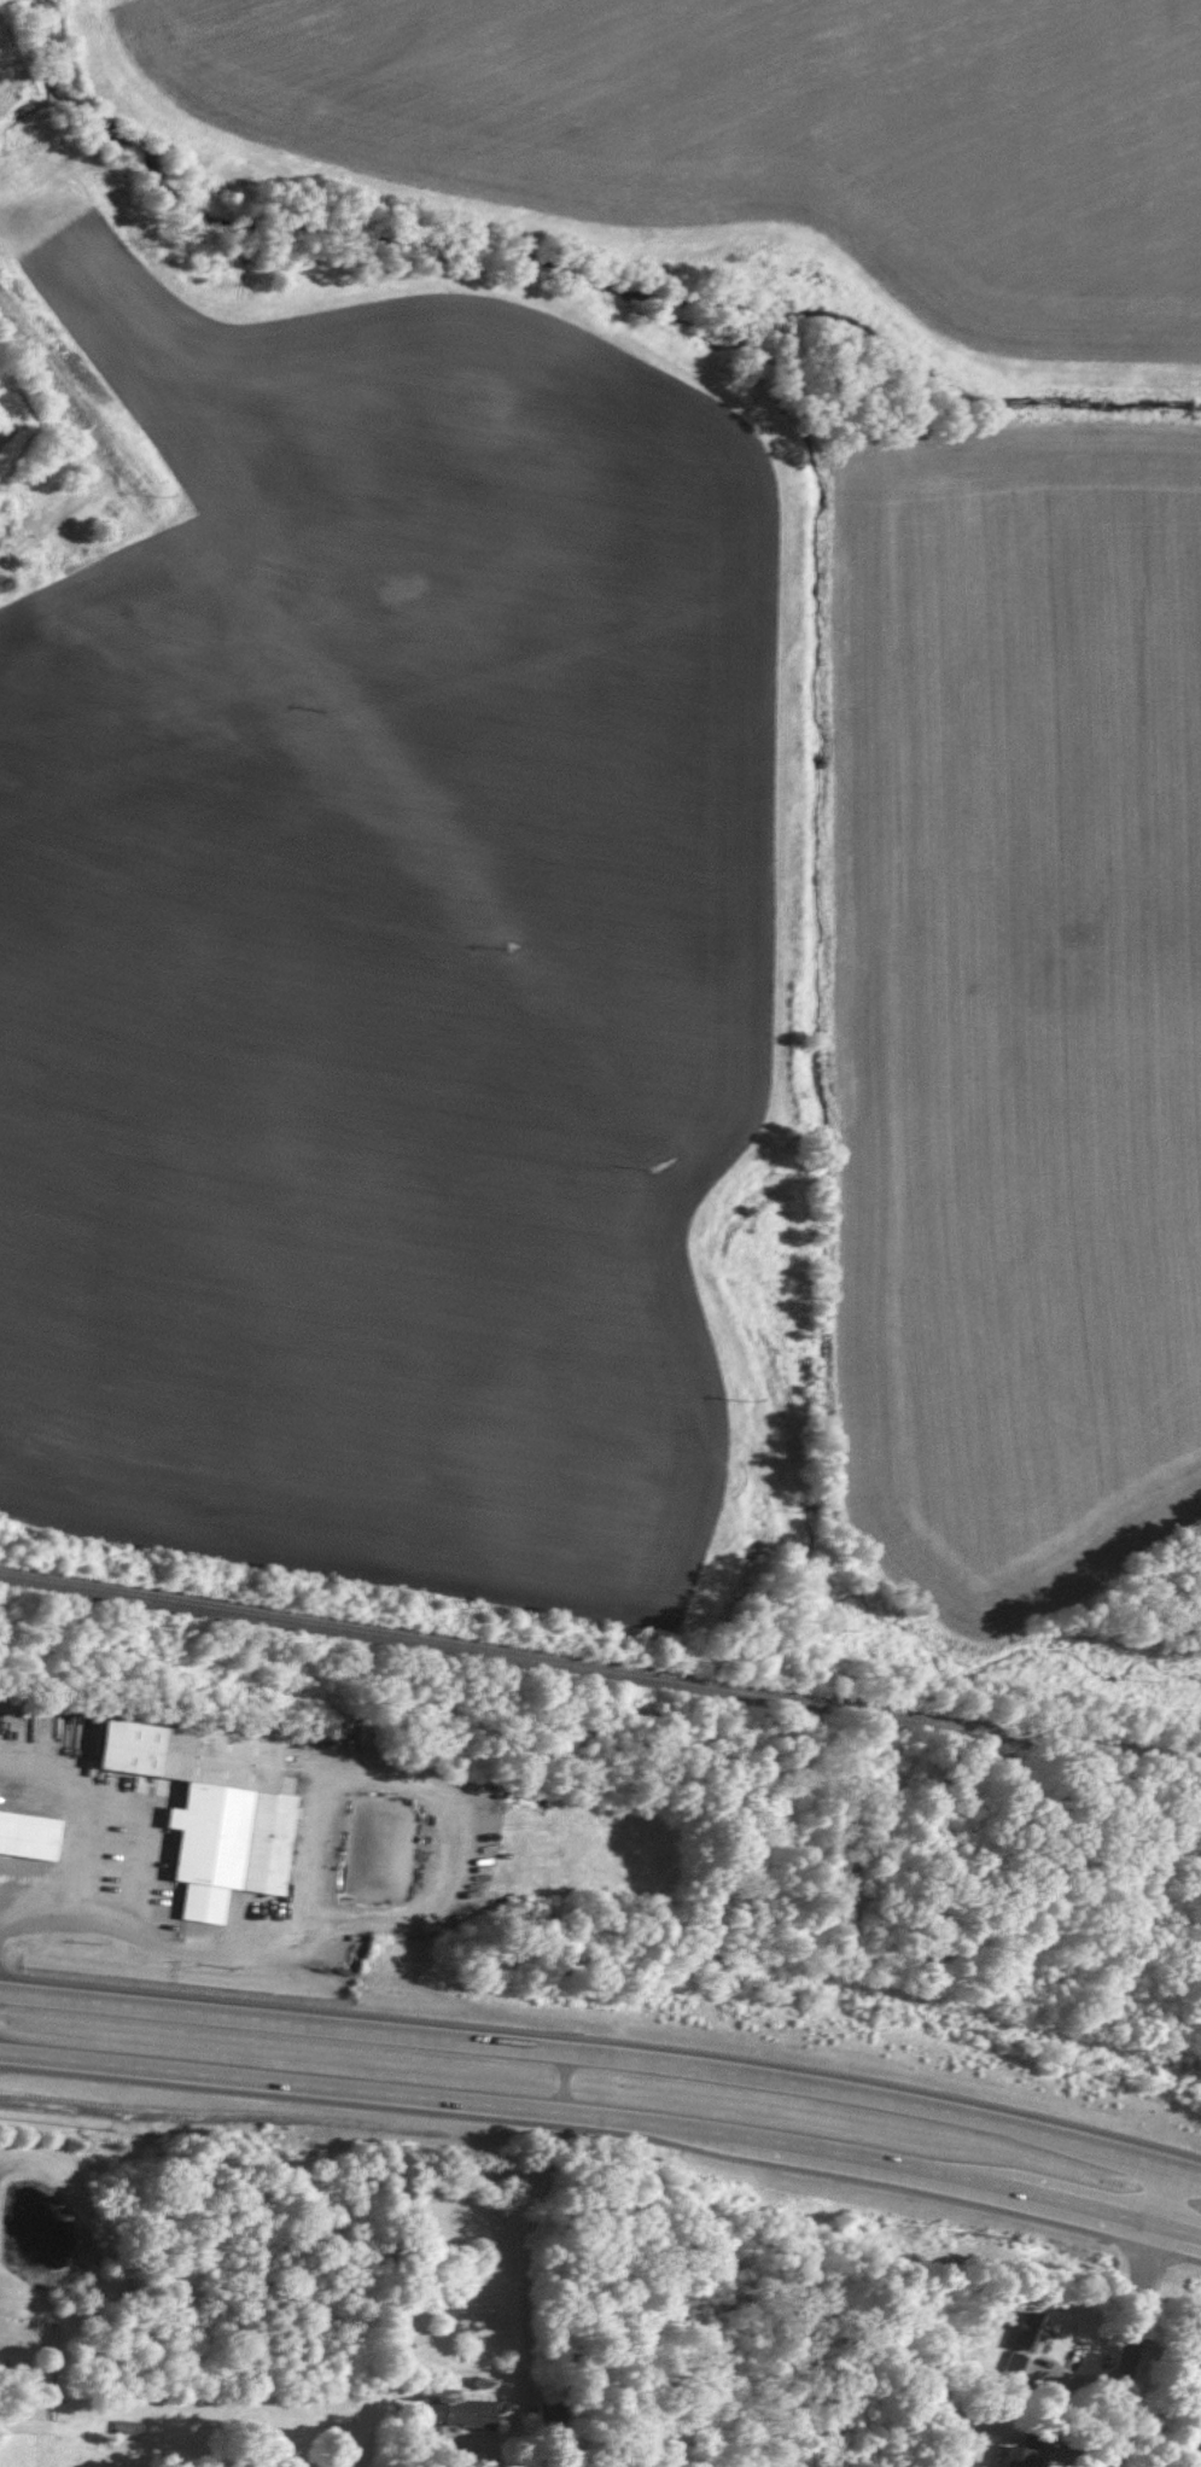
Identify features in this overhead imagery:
railway: (258, 1651)
railway: (600, 1667)
building: (208, 1809)
building: (25, 1848)
road: (65, 1896)
road: (939, 1959)
road: (605, 2043)
road: (605, 2111)
road: (536, 2222)
road: (1144, 2311)
building: (1025, 2332)
building: (1009, 2368)
building: (456, 2413)
building: (425, 2438)
building: (1016, 2455)

